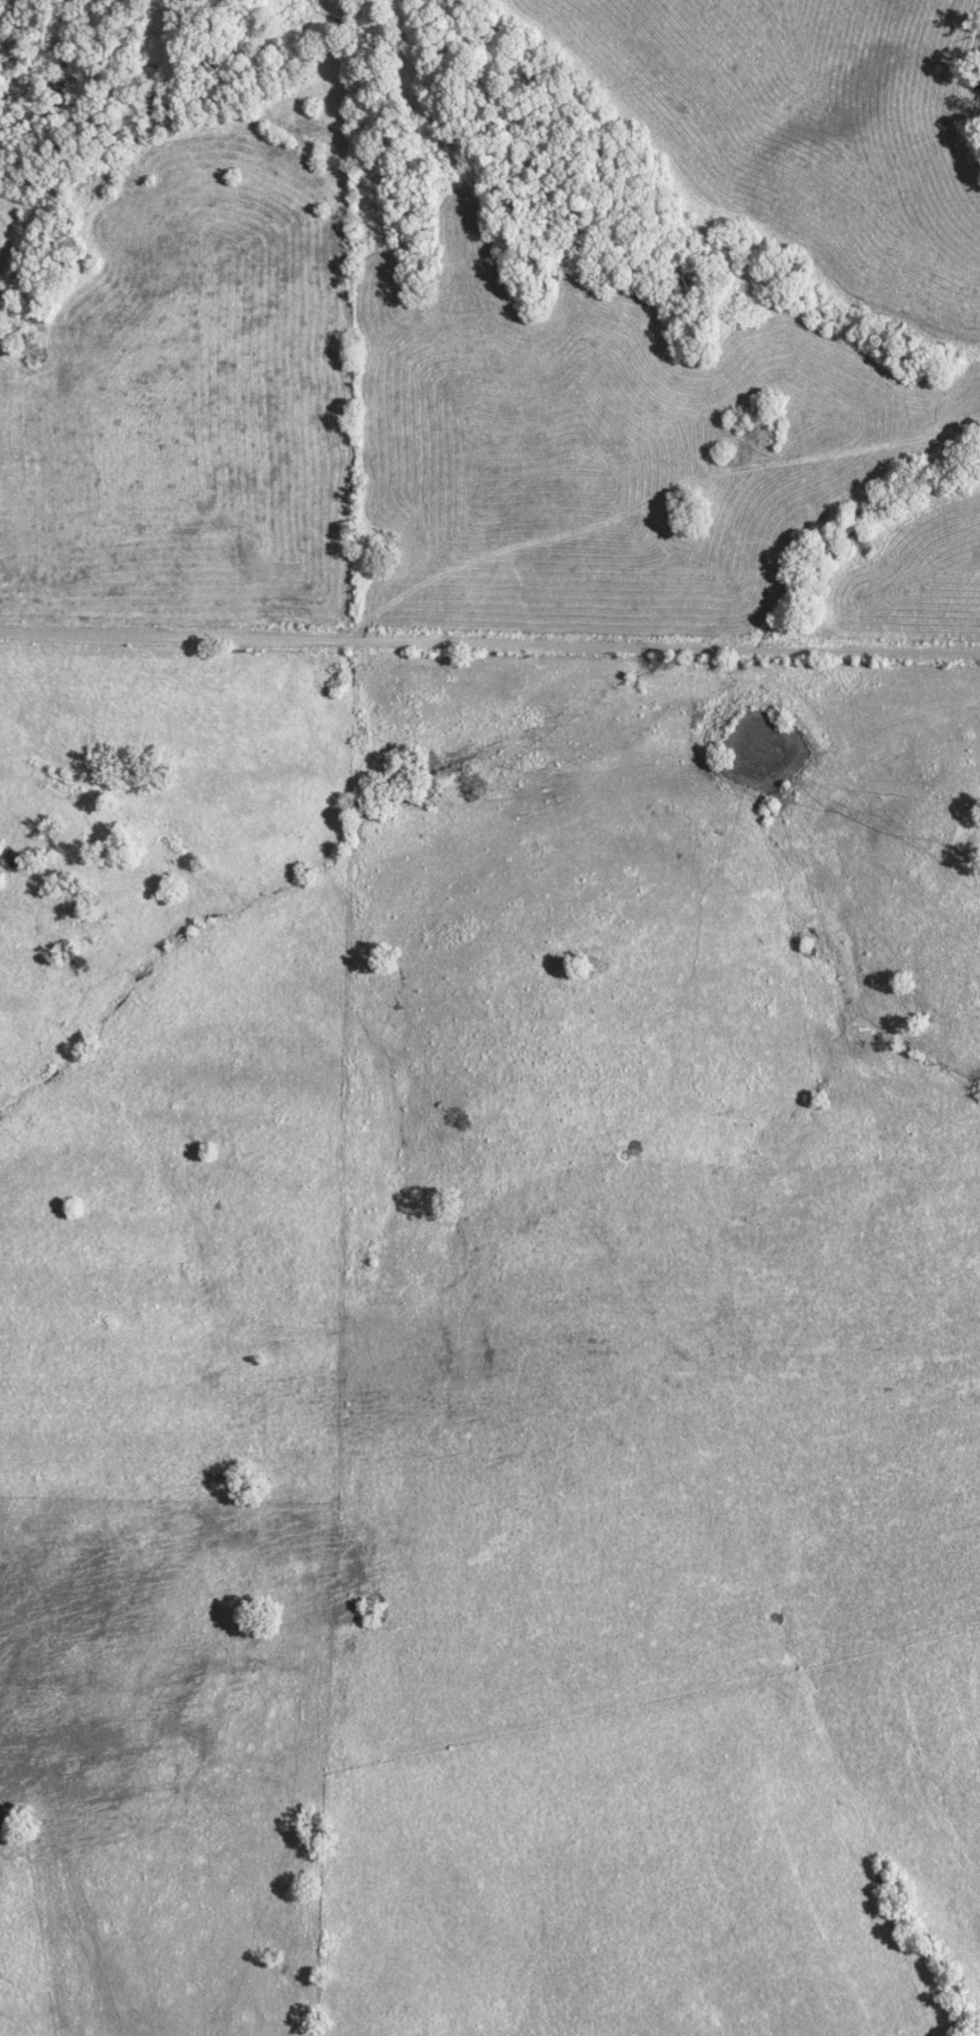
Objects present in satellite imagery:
road: (490, 639)

